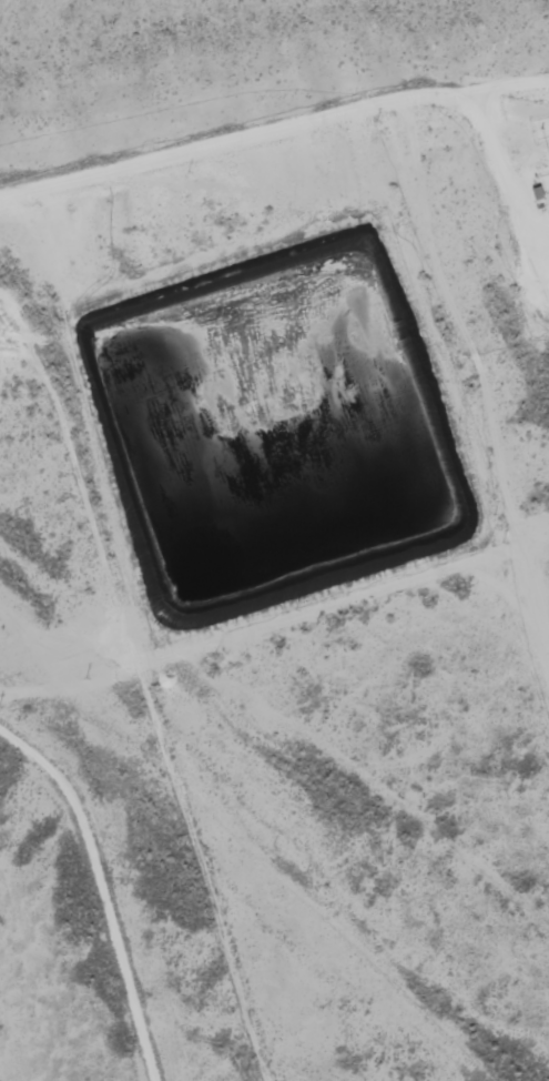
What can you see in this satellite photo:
road: (274, 139)

